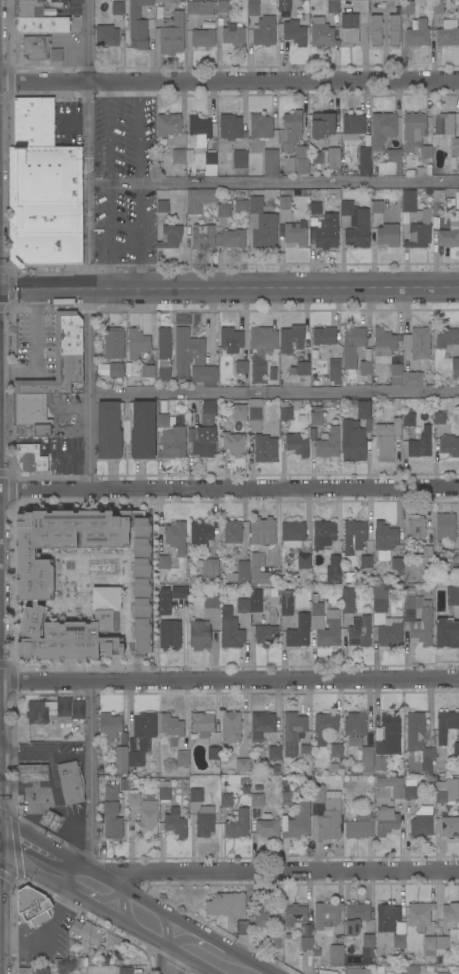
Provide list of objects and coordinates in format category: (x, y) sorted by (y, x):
building: (357, 0)
building: (27, 1)
building: (162, 1)
building: (284, 4)
building: (222, 6)
building: (332, 6)
building: (200, 7)
building: (407, 7)
building: (437, 7)
building: (118, 8)
building: (28, 9)
building: (253, 9)
building: (362, 20)
building: (41, 24)
building: (137, 25)
building: (349, 29)
building: (375, 30)
building: (393, 30)
building: (264, 31)
building: (171, 33)
building: (294, 33)
building: (322, 33)
building: (417, 33)
building: (447, 33)
building: (106, 35)
building: (233, 35)
building: (203, 37)
building: (36, 47)
building: (56, 55)
road: (229, 79)
building: (34, 121)
building: (353, 123)
building: (322, 124)
building: (260, 126)
building: (166, 127)
building: (229, 127)
building: (382, 128)
building: (413, 129)
building: (200, 130)
building: (290, 130)
building: (445, 132)
road: (88, 143)
building: (426, 153)
building: (182, 157)
building: (333, 157)
building: (237, 158)
building: (302, 159)
building: (393, 160)
building: (270, 162)
building: (210, 164)
building: (288, 164)
building: (425, 170)
building: (48, 174)
road: (273, 181)
road: (109, 183)
road: (139, 184)
building: (438, 196)
building: (198, 199)
building: (408, 200)
building: (284, 202)
building: (161, 203)
building: (240, 205)
building: (377, 207)
building: (314, 208)
building: (438, 208)
building: (223, 210)
building: (48, 218)
building: (263, 220)
building: (355, 225)
building: (419, 229)
building: (327, 232)
building: (296, 233)
building: (388, 235)
building: (170, 236)
building: (203, 236)
building: (449, 236)
building: (233, 238)
building: (47, 248)
road: (273, 287)
road: (43, 288)
building: (324, 335)
parking lot: (33, 336)
building: (445, 337)
building: (291, 338)
building: (263, 339)
building: (231, 340)
building: (138, 341)
building: (417, 342)
building: (113, 343)
building: (352, 345)
building: (383, 345)
road: (35, 348)
building: (187, 351)
building: (163, 354)
building: (60, 358)
building: (455, 366)
building: (240, 367)
building: (365, 367)
building: (303, 368)
building: (116, 370)
building: (334, 370)
building: (149, 371)
building: (396, 374)
building: (134, 375)
building: (204, 375)
building: (412, 379)
road: (87, 388)
road: (273, 392)
building: (208, 407)
building: (30, 408)
building: (284, 410)
building: (238, 412)
building: (255, 415)
building: (316, 418)
building: (439, 418)
building: (162, 420)
building: (408, 420)
building: (31, 430)
building: (109, 430)
building: (142, 430)
building: (355, 434)
building: (387, 438)
building: (205, 442)
building: (172, 443)
building: (233, 443)
building: (296, 444)
building: (328, 444)
building: (420, 444)
building: (449, 445)
building: (265, 448)
building: (30, 458)
road: (229, 488)
building: (416, 527)
building: (445, 527)
building: (202, 531)
building: (232, 531)
building: (262, 531)
building: (292, 533)
building: (323, 534)
building: (176, 536)
building: (353, 536)
building: (384, 536)
building: (303, 561)
building: (166, 562)
building: (366, 563)
building: (397, 565)
building: (254, 569)
building: (334, 569)
building: (454, 569)
building: (210, 570)
building: (239, 572)
building: (83, 583)
building: (179, 592)
building: (452, 595)
building: (255, 599)
building: (211, 600)
building: (348, 600)
building: (380, 601)
building: (164, 602)
building: (286, 602)
building: (412, 602)
building: (243, 606)
building: (332, 622)
building: (422, 627)
building: (230, 629)
building: (359, 631)
building: (298, 632)
building: (390, 632)
building: (446, 633)
building: (169, 635)
building: (199, 635)
building: (266, 635)
road: (229, 681)
building: (55, 710)
building: (262, 722)
building: (202, 724)
building: (355, 724)
building: (445, 725)
building: (110, 726)
building: (324, 726)
building: (171, 727)
building: (144, 728)
building: (232, 728)
building: (293, 732)
building: (391, 732)
building: (418, 740)
building: (352, 741)
building: (336, 744)
building: (456, 748)
building: (305, 751)
building: (214, 753)
building: (274, 753)
road: (26, 754)
road: (71, 754)
building: (183, 758)
building: (366, 758)
building: (127, 759)
building: (380, 763)
building: (242, 765)
building: (32, 772)
road: (90, 776)
building: (71, 782)
road: (42, 786)
building: (392, 786)
building: (446, 791)
building: (410, 792)
building: (164, 793)
building: (318, 794)
building: (196, 795)
building: (287, 798)
building: (133, 799)
building: (256, 799)
building: (226, 800)
building: (111, 812)
building: (328, 816)
road: (31, 820)
building: (51, 820)
building: (298, 820)
building: (146, 821)
building: (205, 821)
building: (386, 821)
road: (81, 822)
building: (422, 822)
building: (175, 823)
building: (237, 825)
road: (71, 826)
building: (358, 826)
building: (450, 826)
building: (267, 828)
road: (0, 832)
road: (39, 863)
road: (266, 871)
building: (226, 904)
building: (35, 910)
building: (450, 912)
building: (294, 914)
building: (326, 914)
building: (419, 915)
building: (264, 916)
building: (356, 917)
building: (387, 918)
building: (242, 927)
road: (156, 930)
building: (85, 931)
building: (274, 937)
building: (368, 940)
building: (398, 941)
building: (441, 942)
building: (306, 943)
building: (429, 946)
building: (72, 953)
building: (336, 955)
road: (168, 956)
building: (355, 969)
building: (398, 969)
building: (24, 970)
building: (41, 970)
building: (124, 970)
building: (412, 971)
building: (442, 973)

